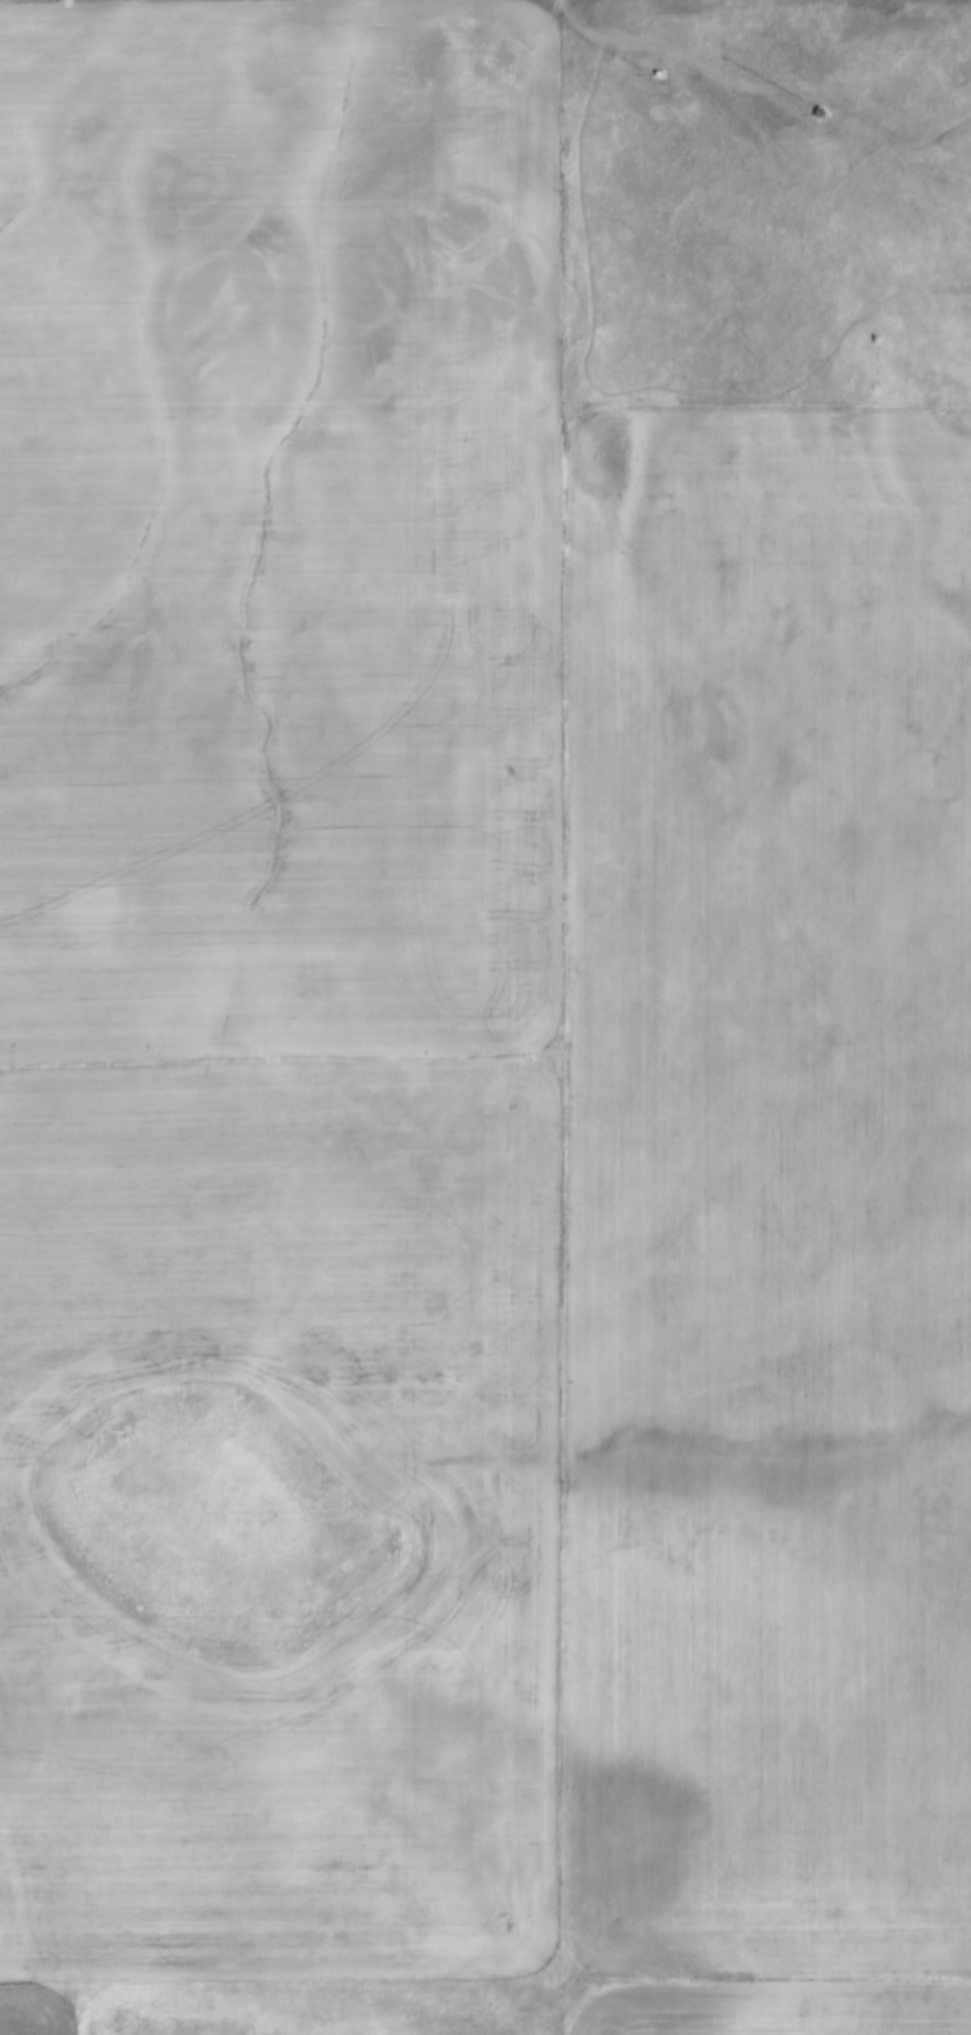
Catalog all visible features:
storage tank: (657, 61)
building: (655, 74)
building: (814, 113)
road: (485, 1976)

